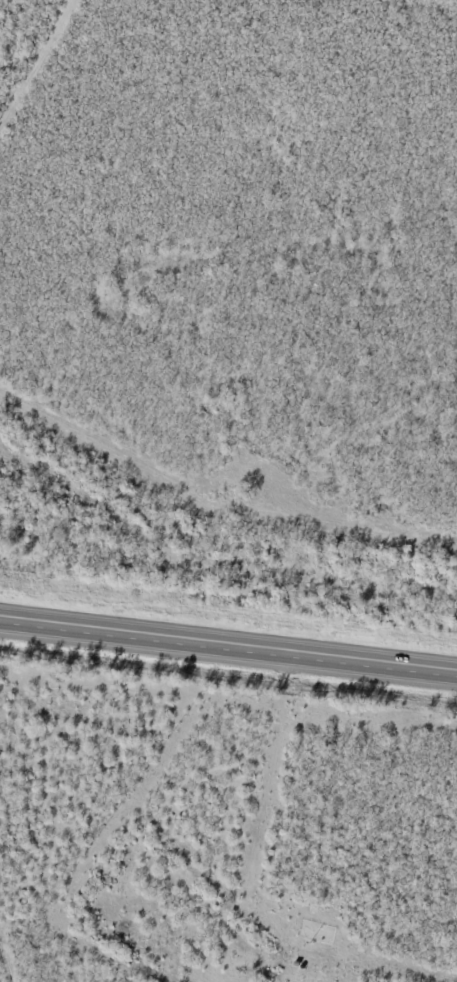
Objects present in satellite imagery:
road: (228, 643)

